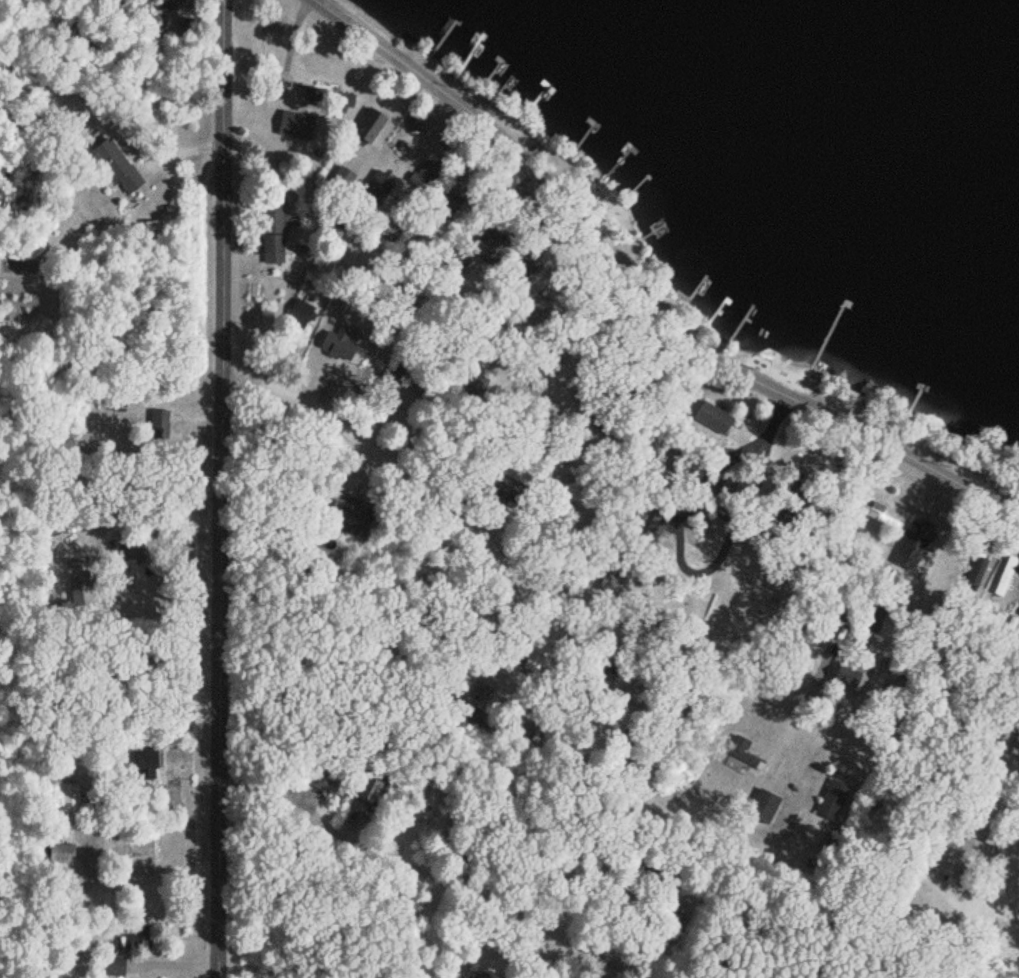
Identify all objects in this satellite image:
building: (113, 166)
building: (271, 224)
road: (645, 287)
building: (296, 312)
building: (710, 418)
road: (222, 488)
building: (975, 573)
building: (1005, 576)
road: (613, 604)
building: (1017, 611)
building: (1015, 745)
building: (140, 758)
building: (326, 784)
building: (427, 794)
building: (69, 796)
building: (768, 798)
road: (641, 800)
building: (62, 853)
building: (934, 864)
road: (431, 873)
building: (139, 938)
building: (118, 964)
building: (485, 974)

